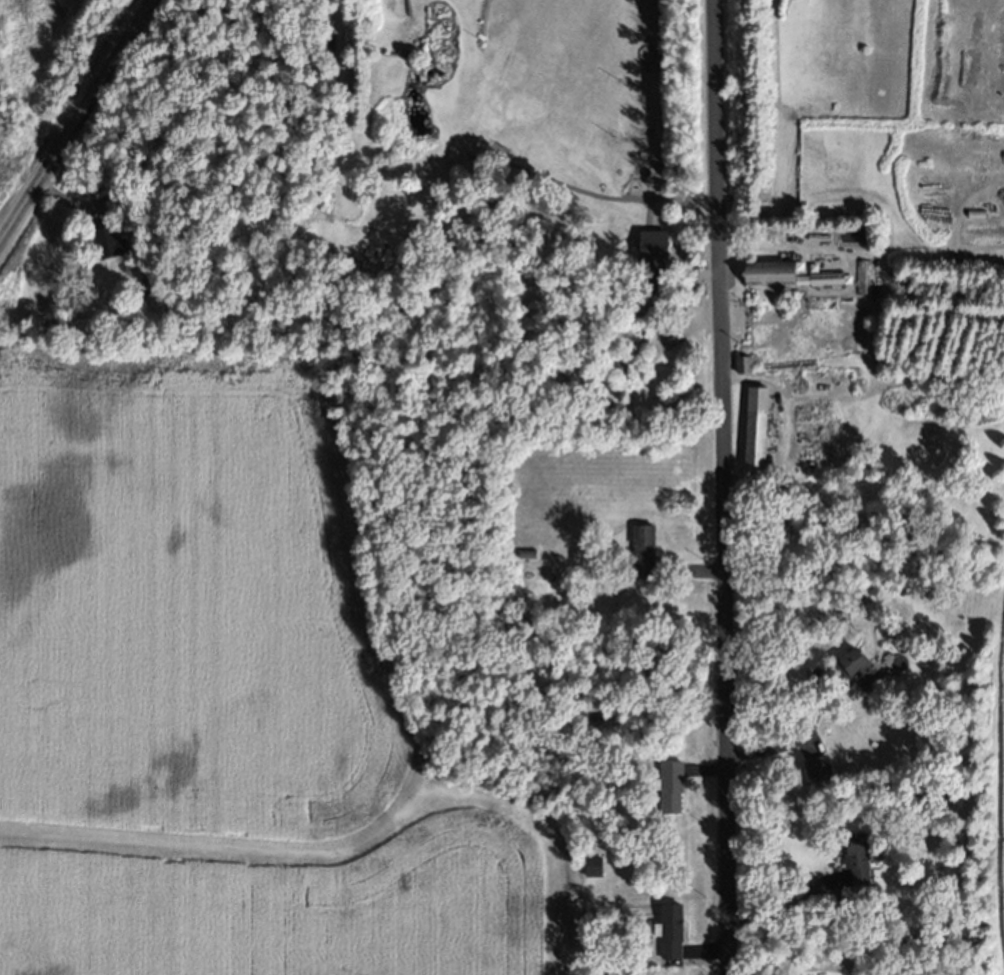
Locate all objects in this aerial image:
road: (77, 121)
building: (109, 242)
road: (772, 250)
building: (656, 257)
building: (771, 272)
building: (862, 278)
building: (152, 292)
building: (162, 296)
building: (625, 331)
building: (632, 357)
building: (745, 363)
building: (758, 426)
road: (724, 487)
building: (643, 550)
building: (527, 553)
building: (575, 585)
building: (931, 591)
building: (859, 669)
road: (793, 736)
building: (818, 765)
building: (671, 785)
building: (859, 856)
building: (595, 865)
road: (786, 911)
building: (671, 929)
building: (603, 972)

